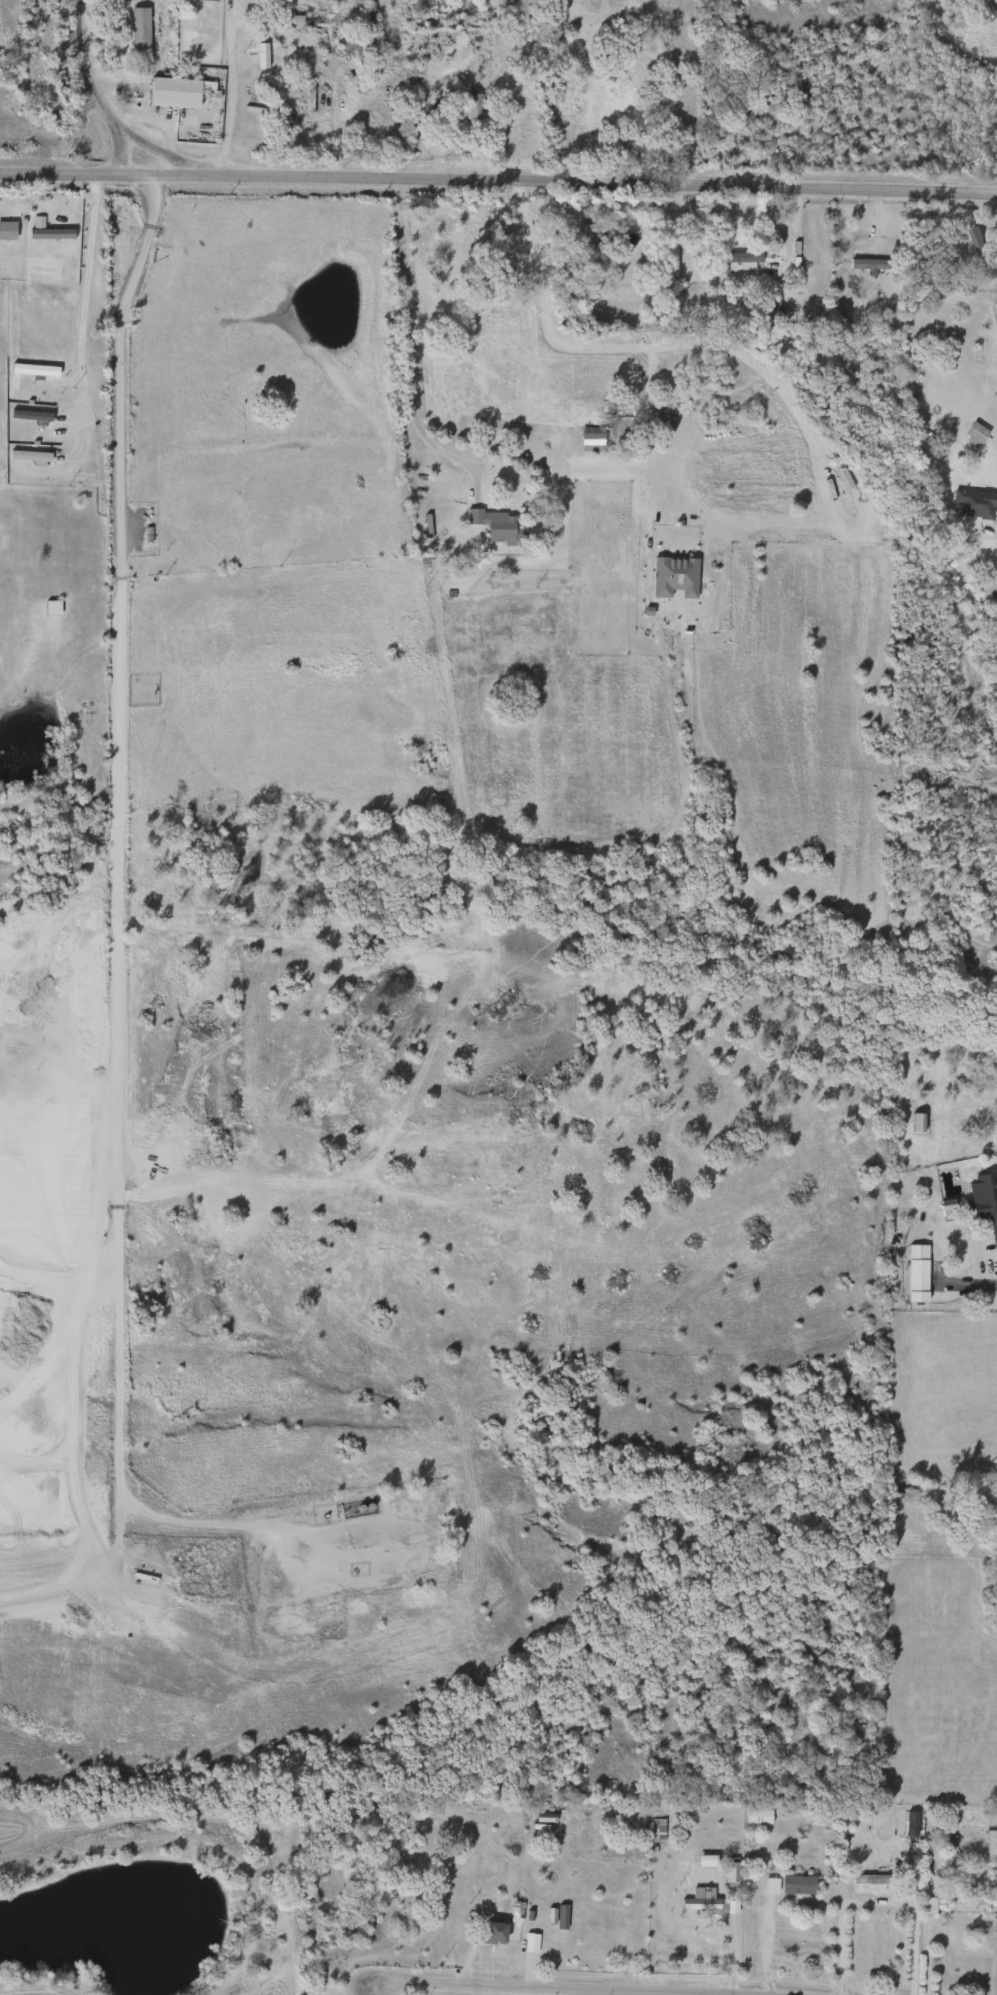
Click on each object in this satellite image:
building: (312, 21)
building: (369, 26)
building: (138, 32)
road: (229, 91)
building: (176, 92)
road: (91, 93)
building: (472, 109)
road: (498, 171)
road: (794, 234)
building: (594, 236)
building: (975, 241)
building: (668, 252)
building: (733, 261)
building: (870, 265)
road: (84, 271)
road: (409, 336)
road: (668, 346)
road: (645, 423)
building: (589, 441)
building: (970, 504)
building: (498, 526)
building: (50, 608)
road: (115, 932)
building: (916, 1122)
building: (983, 1196)
building: (916, 1272)
road: (969, 1285)
building: (756, 1816)
building: (729, 1874)
building: (868, 1881)
building: (768, 1885)
building: (796, 1885)
building: (700, 1901)
road: (872, 1901)
building: (925, 1905)
building: (964, 1905)
building: (491, 1933)
road: (926, 1956)
road: (557, 1988)

